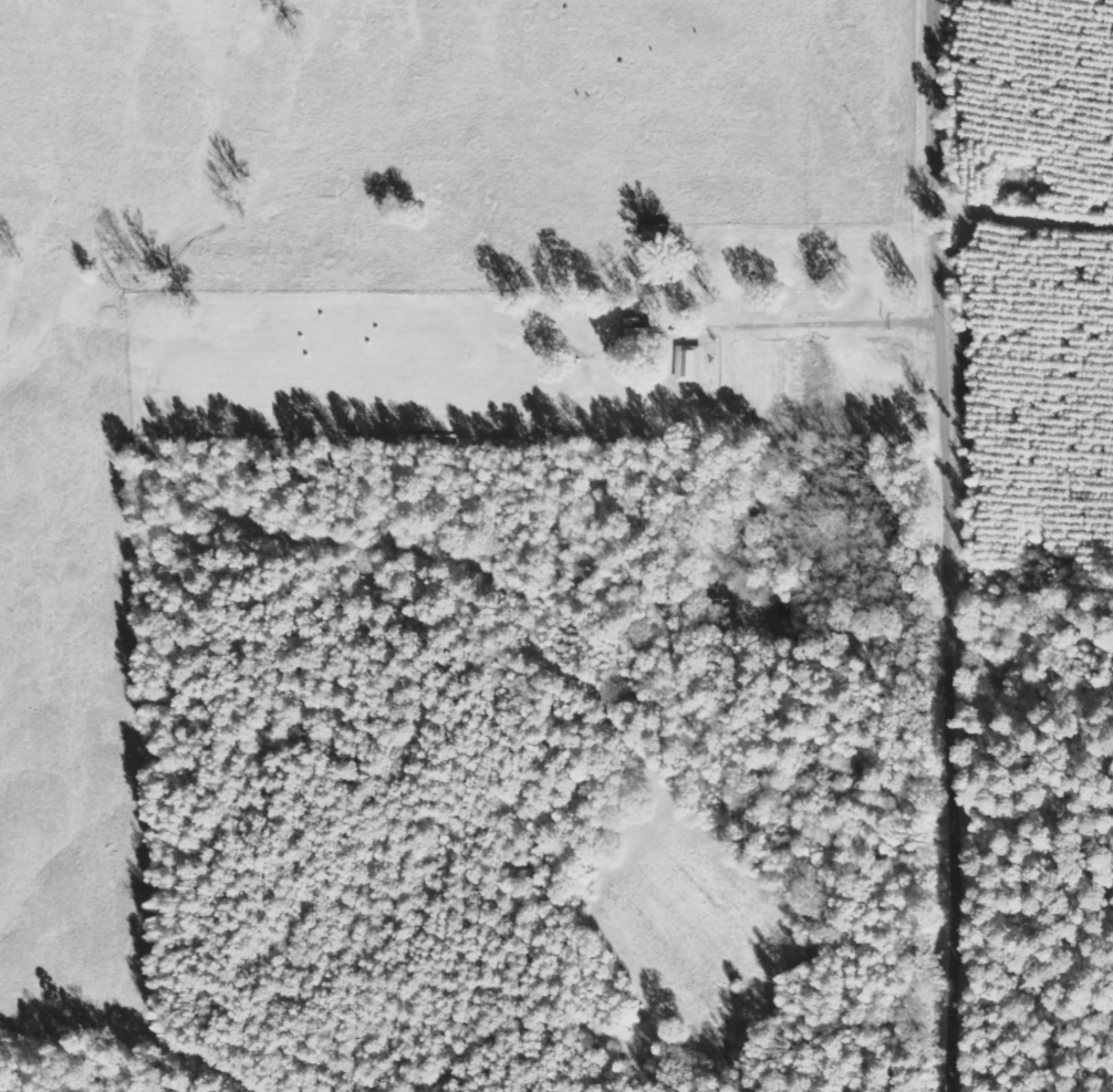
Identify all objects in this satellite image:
road: (800, 323)
road: (944, 545)

